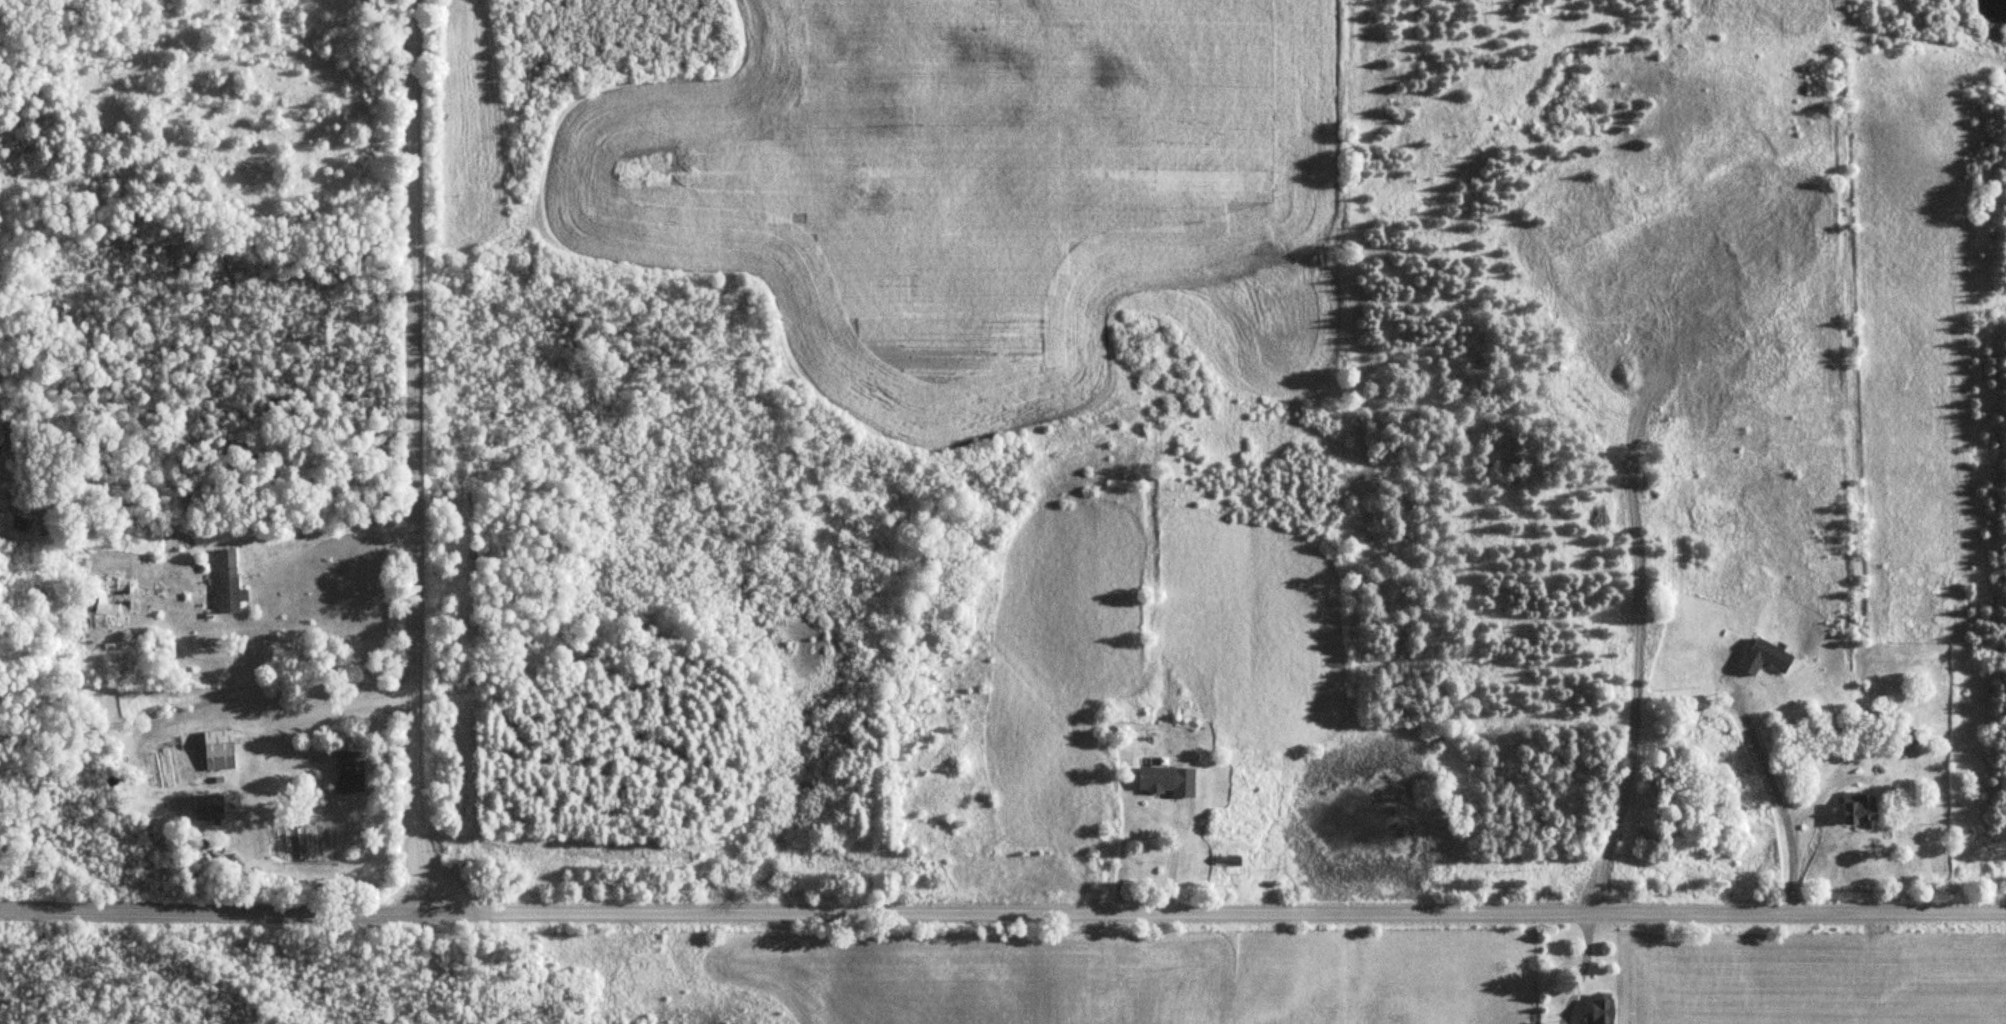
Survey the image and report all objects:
road: (412, 456)
building: (27, 515)
building: (229, 581)
building: (113, 596)
building: (1766, 656)
building: (1912, 736)
building: (220, 749)
building: (350, 771)
building: (1159, 779)
building: (210, 806)
building: (1862, 806)
building: (1229, 859)
road: (1211, 911)
road: (208, 912)
building: (1604, 1008)

